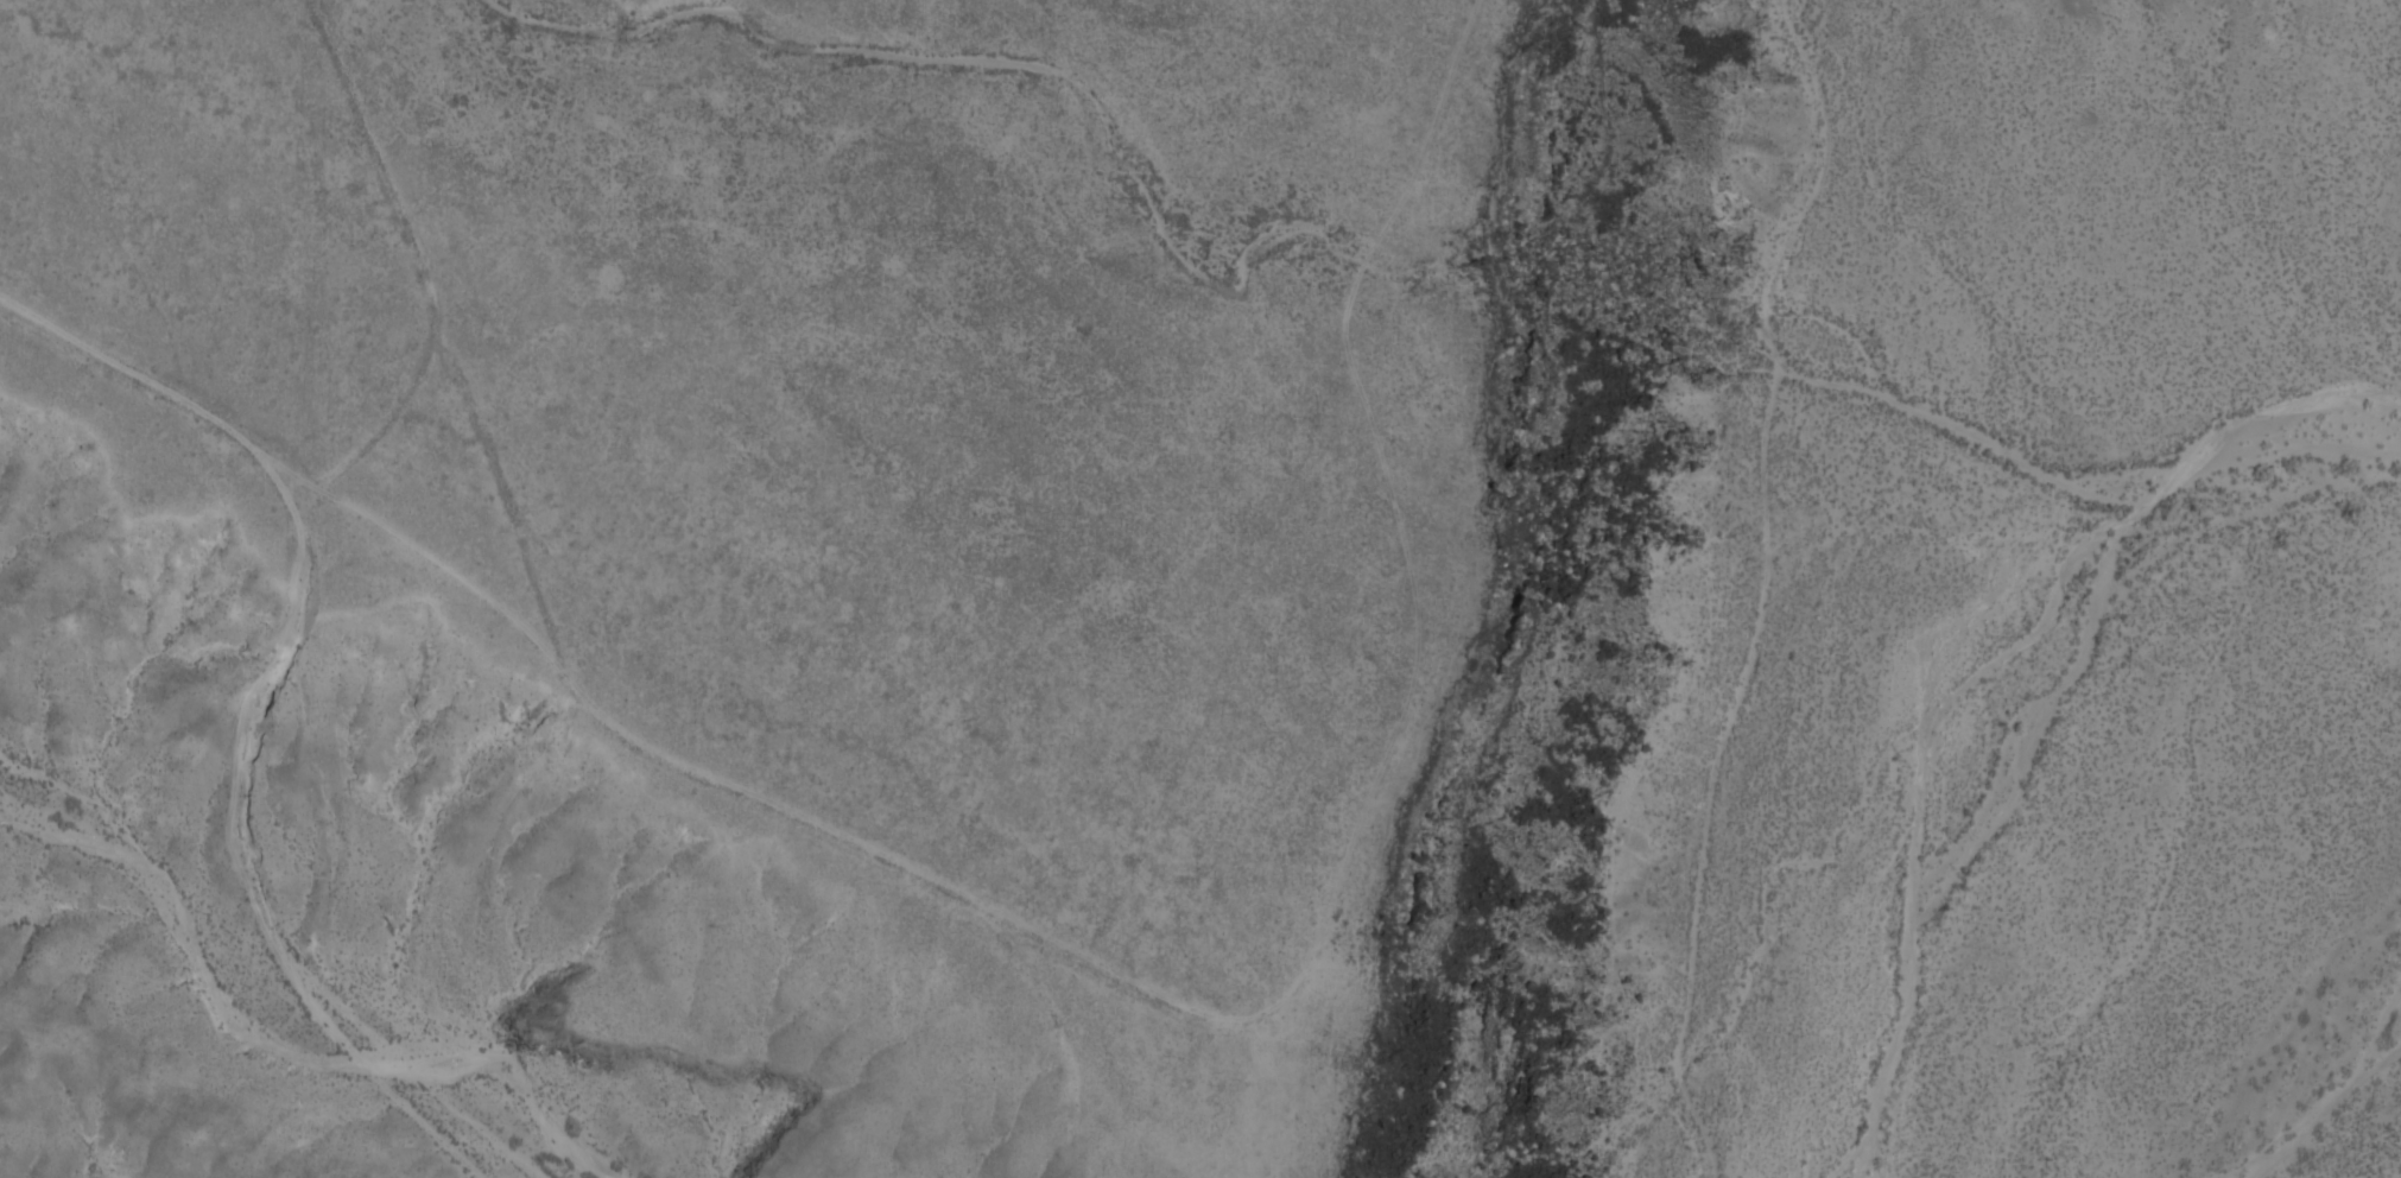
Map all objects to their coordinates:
road: (1092, 958)

